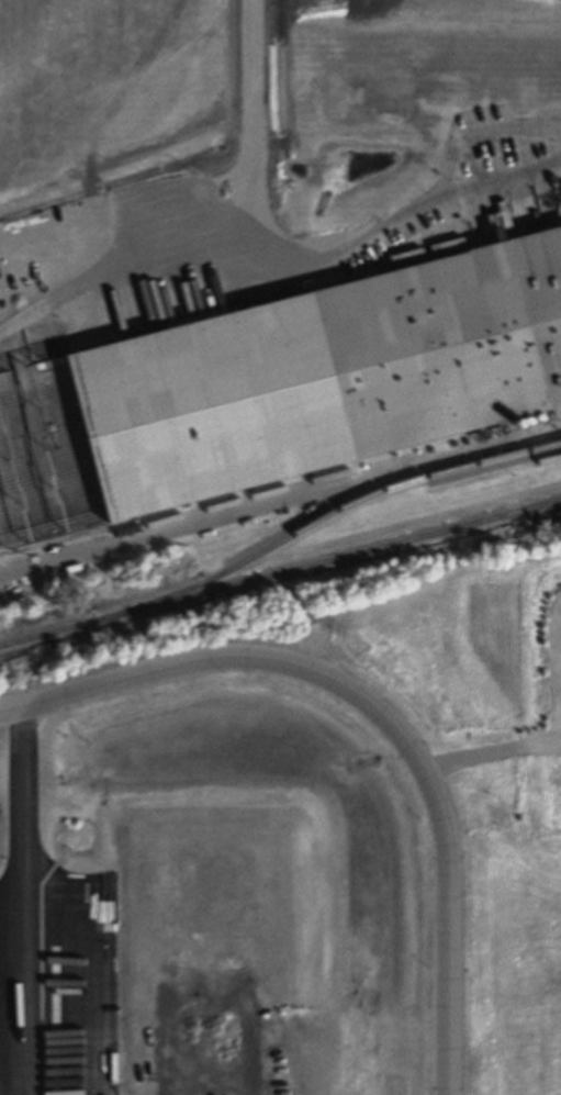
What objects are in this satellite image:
road: (450, 189)
building: (450, 344)
railway: (325, 516)
railway: (280, 576)
road: (383, 709)
road: (29, 900)

